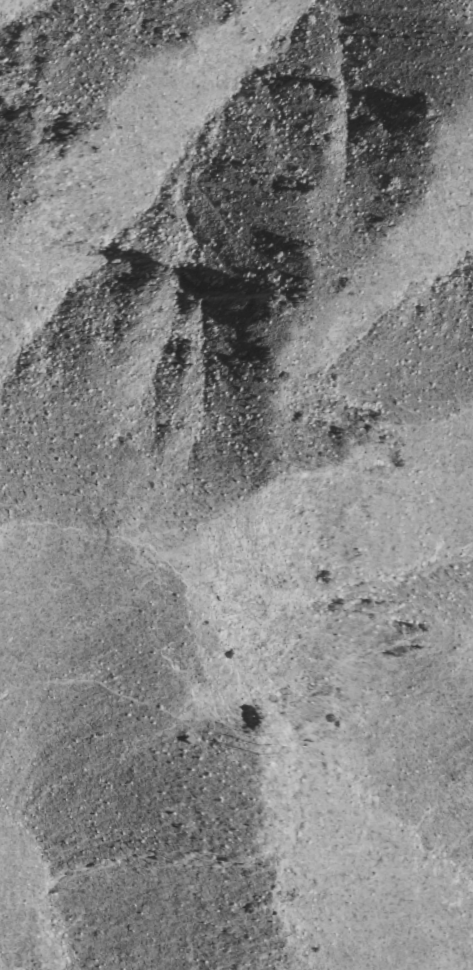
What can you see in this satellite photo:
road: (144, 653)
building: (179, 741)

